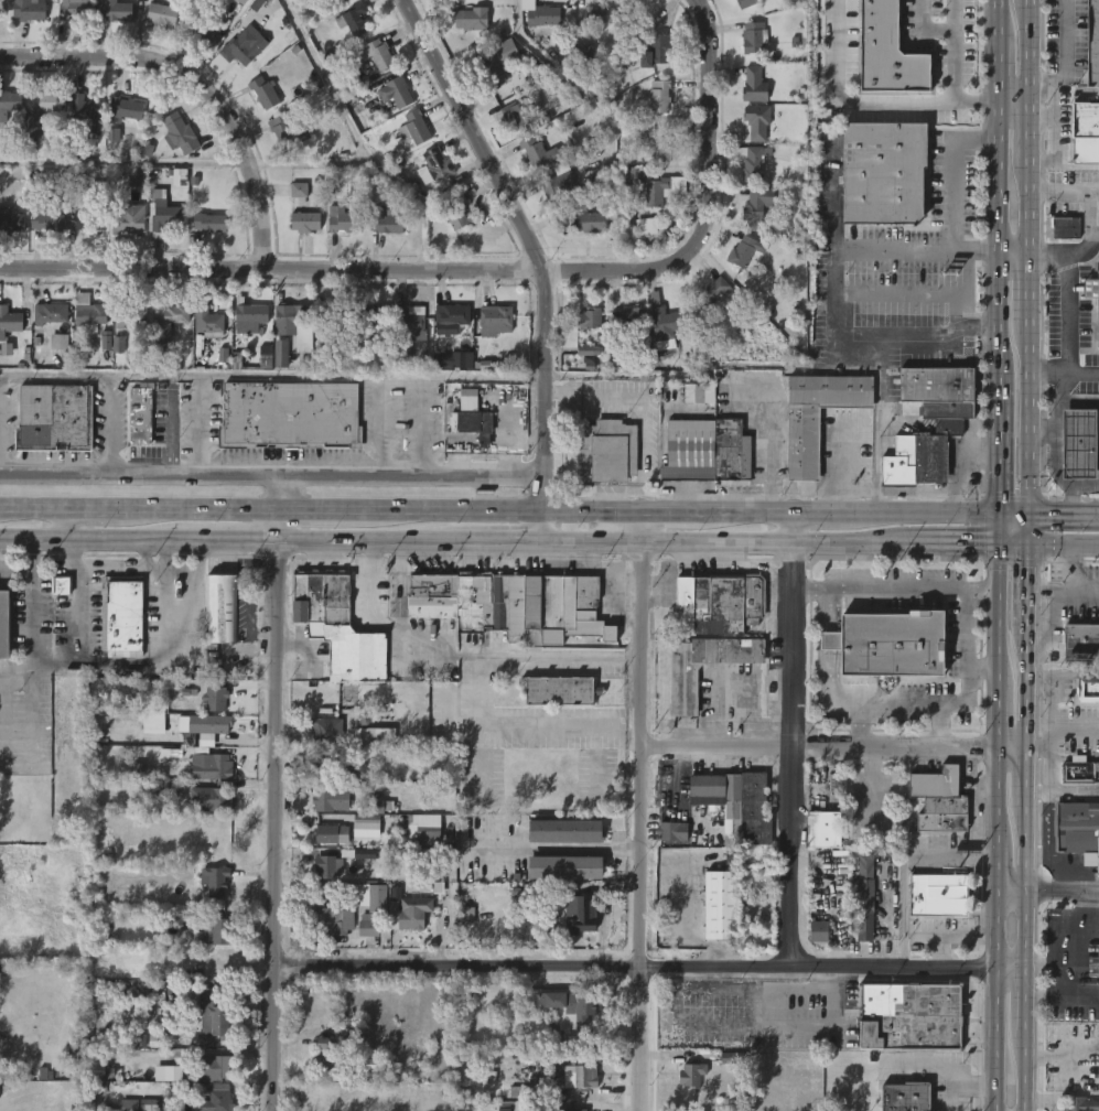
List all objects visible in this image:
building: (207, 1)
building: (241, 1)
building: (343, 2)
building: (746, 3)
building: (257, 4)
building: (26, 10)
building: (73, 10)
building: (117, 11)
building: (159, 14)
building: (599, 14)
building: (541, 15)
building: (471, 18)
building: (358, 20)
building: (205, 29)
building: (754, 36)
building: (1092, 42)
building: (245, 47)
building: (655, 50)
building: (887, 51)
building: (584, 53)
road: (950, 53)
road: (1031, 53)
building: (377, 55)
road: (1057, 65)
building: (494, 72)
road: (705, 74)
road: (200, 82)
building: (754, 84)
building: (398, 91)
building: (262, 93)
building: (659, 95)
building: (45, 100)
building: (9, 104)
road: (839, 105)
road: (991, 106)
building: (123, 107)
building: (519, 112)
building: (84, 114)
building: (757, 122)
road: (1044, 125)
building: (417, 127)
building: (627, 129)
building: (288, 131)
building: (114, 132)
road: (1032, 132)
building: (180, 133)
building: (1085, 133)
road: (357, 141)
road: (1056, 141)
building: (657, 144)
building: (142, 148)
building: (537, 152)
building: (754, 160)
road: (311, 163)
building: (434, 166)
road: (949, 170)
building: (883, 173)
building: (139, 180)
building: (557, 183)
building: (599, 185)
road: (999, 186)
building: (299, 190)
road: (1065, 190)
building: (655, 192)
building: (757, 203)
road: (1032, 206)
building: (457, 212)
building: (91, 219)
building: (130, 219)
building: (163, 219)
building: (341, 219)
building: (11, 220)
building: (308, 220)
building: (383, 220)
building: (50, 222)
building: (212, 222)
building: (592, 222)
building: (646, 226)
building: (1066, 227)
road: (931, 250)
building: (743, 251)
road: (1069, 251)
road: (535, 256)
road: (671, 261)
road: (271, 271)
road: (1032, 289)
building: (715, 290)
road: (920, 292)
building: (1092, 296)
road: (955, 311)
building: (47, 312)
road: (1065, 313)
building: (130, 315)
building: (251, 315)
building: (374, 315)
building: (451, 315)
building: (664, 315)
building: (88, 316)
building: (334, 316)
building: (628, 317)
building: (588, 319)
building: (498, 320)
road: (833, 320)
building: (9, 321)
building: (166, 321)
building: (207, 323)
building: (411, 324)
building: (292, 325)
building: (106, 341)
building: (60, 342)
building: (119, 345)
building: (7, 349)
road: (833, 349)
building: (588, 350)
building: (403, 353)
building: (281, 354)
building: (223, 355)
building: (266, 357)
building: (236, 360)
building: (453, 360)
road: (1066, 373)
road: (273, 375)
building: (697, 392)
road: (594, 396)
road: (1064, 402)
building: (139, 413)
building: (288, 416)
road: (1055, 416)
building: (473, 418)
building: (52, 419)
road: (1031, 420)
road: (876, 422)
road: (203, 425)
road: (381, 427)
building: (950, 428)
road: (107, 430)
road: (640, 438)
road: (998, 444)
building: (1079, 444)
gas station: (1079, 444)
building: (804, 445)
building: (606, 450)
road: (1055, 450)
building: (704, 452)
road: (840, 467)
road: (273, 477)
road: (615, 483)
road: (1071, 485)
road: (32, 508)
road: (89, 509)
road: (197, 509)
road: (323, 510)
road: (505, 510)
road: (671, 511)
road: (743, 513)
road: (815, 513)
road: (918, 513)
traffic signals: (998, 514)
road: (1012, 515)
traffic signals: (1027, 516)
road: (1063, 516)
road: (65, 524)
road: (280, 525)
road: (996, 528)
road: (1027, 529)
road: (100, 538)
road: (240, 539)
road: (373, 539)
road: (506, 540)
road: (726, 541)
road: (951, 542)
traffic signals: (996, 543)
road: (1012, 543)
traffic signals: (1028, 543)
road: (1064, 543)
road: (142, 562)
road: (17, 569)
road: (1071, 573)
road: (1028, 584)
building: (62, 586)
road: (893, 589)
road: (1085, 589)
building: (509, 603)
road: (186, 605)
building: (222, 607)
road: (33, 610)
road: (829, 611)
road: (998, 614)
road: (1055, 614)
building: (120, 616)
building: (2, 622)
building: (337, 626)
building: (714, 630)
road: (828, 639)
building: (1081, 640)
building: (890, 641)
road: (445, 656)
road: (121, 662)
road: (980, 670)
building: (1089, 687)
building: (558, 689)
road: (1027, 689)
road: (827, 692)
building: (348, 694)
building: (216, 697)
road: (963, 697)
road: (998, 719)
building: (153, 723)
road: (559, 725)
road: (478, 727)
road: (859, 727)
road: (937, 727)
building: (330, 731)
building: (374, 737)
road: (788, 738)
building: (206, 748)
road: (818, 749)
road: (1012, 752)
building: (333, 768)
building: (1077, 770)
road: (1026, 779)
building: (836, 783)
building: (166, 788)
road: (871, 790)
building: (213, 796)
road: (998, 796)
building: (334, 797)
building: (939, 800)
road: (906, 803)
building: (734, 805)
building: (378, 807)
road: (635, 810)
road: (278, 824)
building: (364, 826)
building: (423, 827)
building: (823, 829)
building: (1073, 829)
building: (562, 830)
building: (671, 831)
building: (330, 834)
building: (365, 854)
road: (955, 856)
road: (546, 863)
road: (996, 865)
building: (326, 866)
building: (565, 867)
building: (214, 880)
building: (559, 883)
road: (1025, 887)
road: (1011, 889)
road: (1062, 889)
building: (364, 895)
building: (938, 895)
building: (722, 906)
building: (862, 909)
building: (409, 910)
building: (468, 915)
building: (584, 917)
road: (885, 917)
building: (332, 921)
road: (1092, 923)
building: (368, 925)
building: (819, 931)
building: (217, 935)
building: (196, 938)
road: (1080, 953)
road: (63, 963)
road: (651, 979)
road: (1069, 982)
road: (1062, 997)
road: (995, 1000)
road: (1025, 1000)
building: (565, 1004)
building: (906, 1015)
building: (218, 1018)
road: (685, 1031)
building: (91, 1042)
building: (326, 1054)
building: (95, 1063)
building: (377, 1064)
building: (219, 1067)
building: (1098, 1069)
road: (1024, 1071)
building: (173, 1075)
building: (583, 1075)
building: (690, 1075)
road: (951, 1076)
building: (215, 1096)
building: (904, 1097)
building: (1080, 1103)
building: (129, 1104)
building: (149, 1104)
building: (577, 1110)

